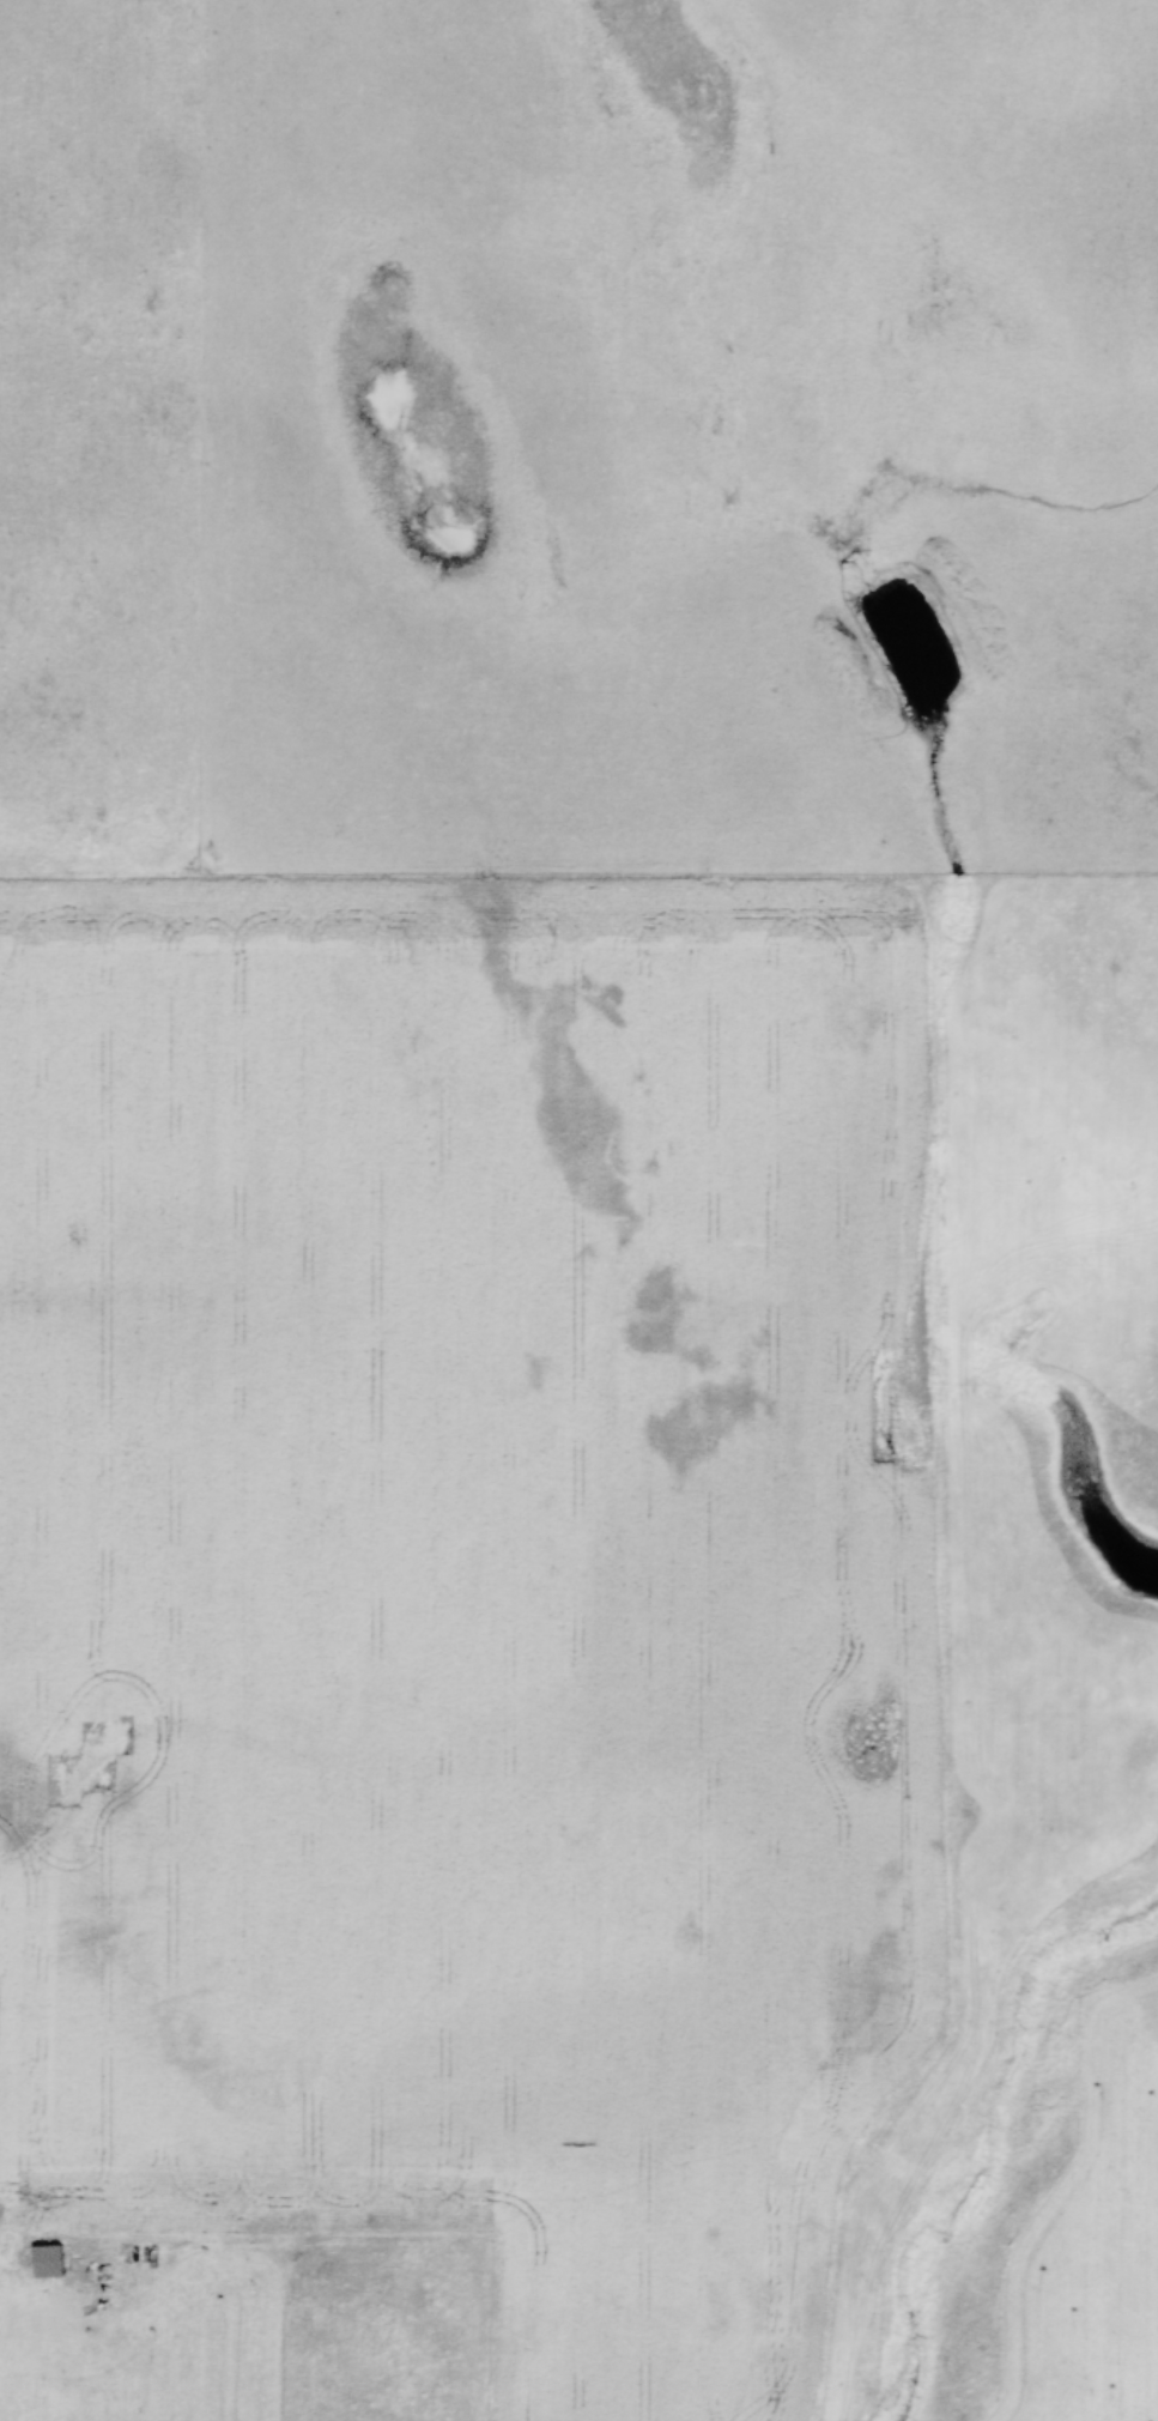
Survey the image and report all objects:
building: (47, 2258)

